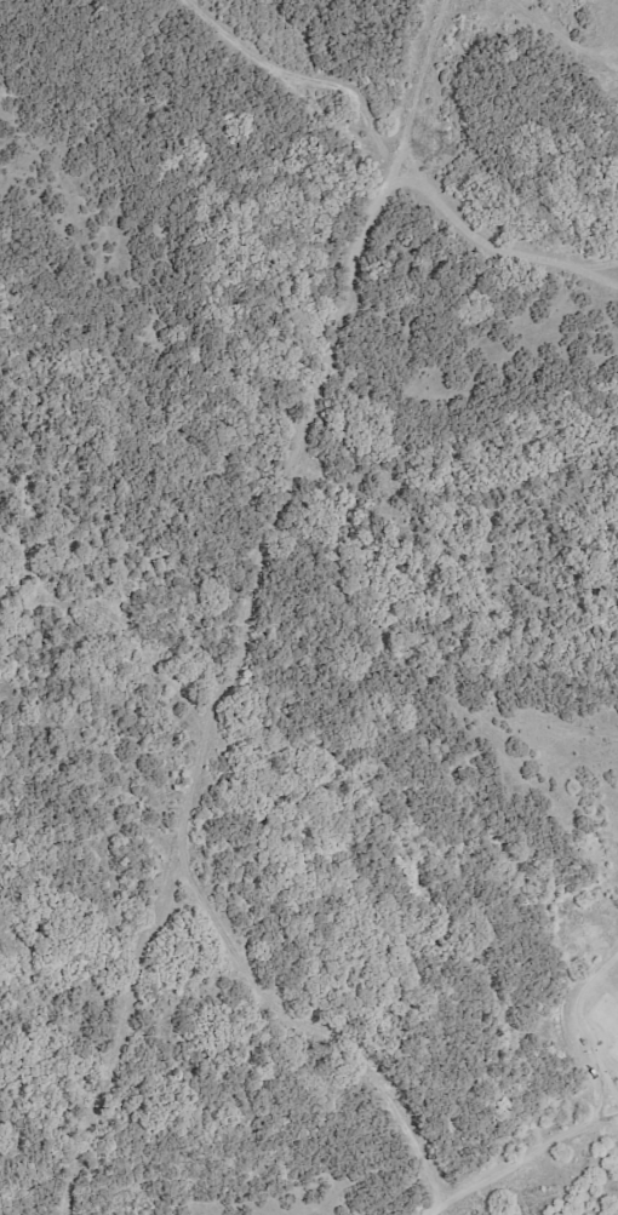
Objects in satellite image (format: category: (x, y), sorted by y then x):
road: (578, 1021)

